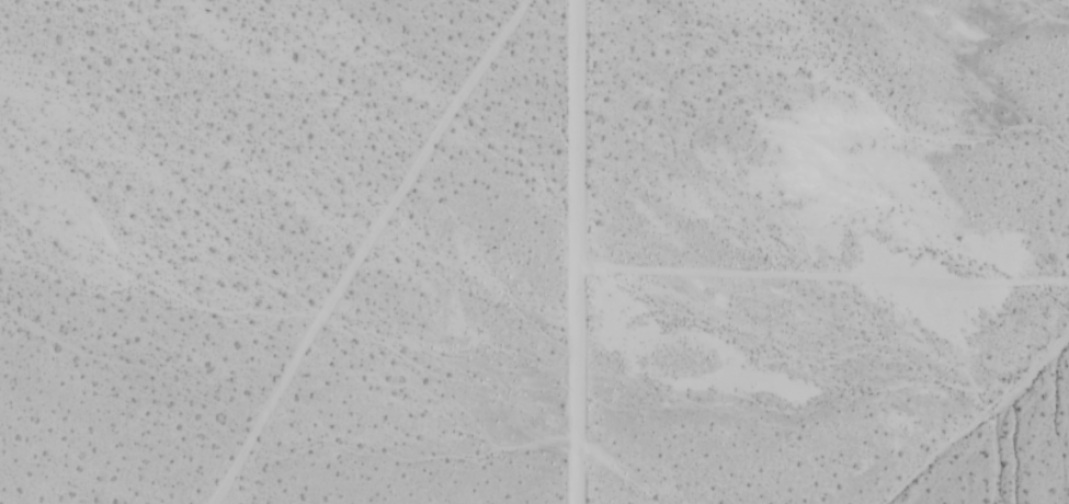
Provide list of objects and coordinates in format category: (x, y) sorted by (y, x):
road: (603, 251)
road: (839, 287)

